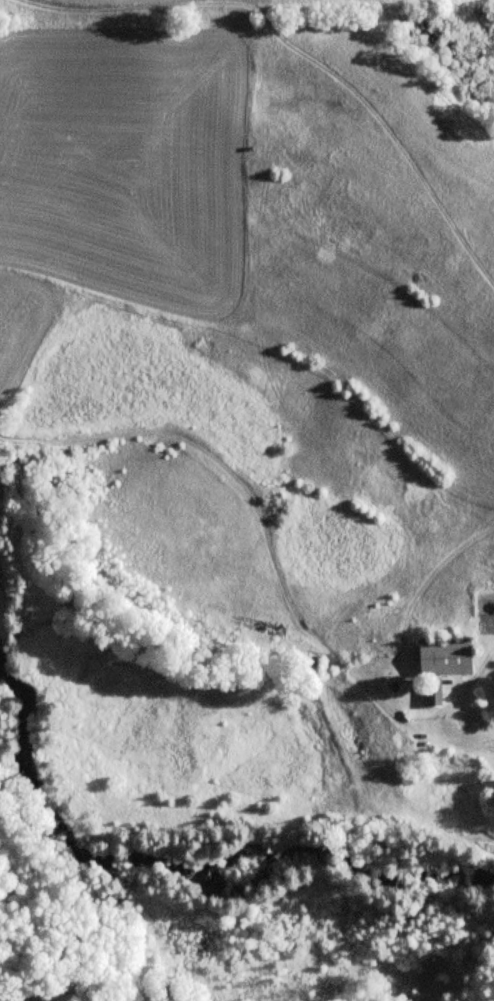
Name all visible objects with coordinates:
building: (440, 665)
road: (479, 717)
building: (460, 725)
river: (181, 868)

